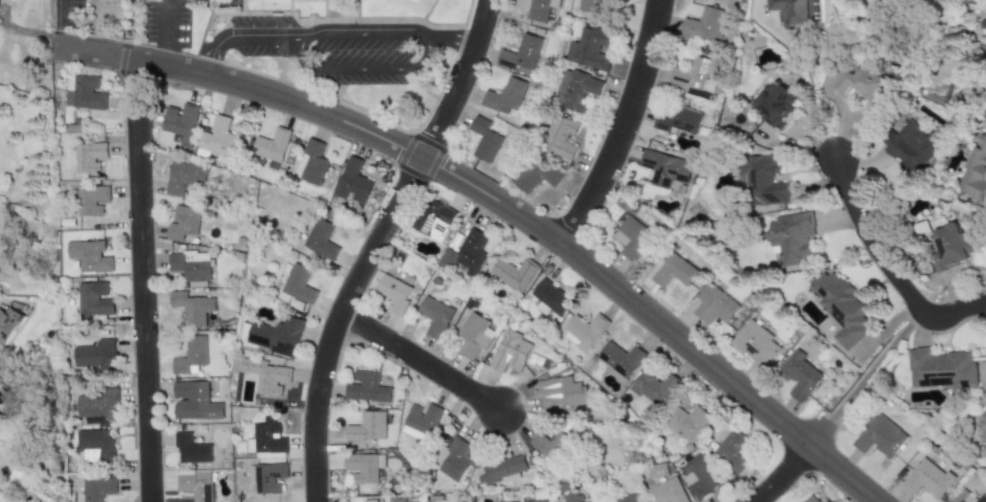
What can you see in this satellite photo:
building: (306, 1)
building: (587, 6)
building: (540, 9)
building: (790, 12)
building: (704, 25)
road: (331, 34)
road: (164, 36)
building: (589, 49)
building: (521, 53)
road: (361, 69)
building: (693, 75)
building: (862, 84)
building: (575, 90)
building: (84, 93)
building: (504, 97)
road: (817, 98)
building: (776, 104)
building: (676, 119)
building: (180, 123)
road: (619, 127)
building: (560, 137)
building: (217, 140)
building: (484, 140)
building: (271, 145)
building: (912, 146)
building: (89, 158)
building: (312, 163)
building: (665, 168)
building: (975, 171)
building: (184, 177)
building: (536, 177)
building: (761, 180)
building: (353, 181)
road: (480, 194)
building: (91, 201)
building: (434, 220)
building: (183, 224)
building: (632, 237)
building: (791, 237)
building: (320, 239)
road: (374, 244)
building: (951, 248)
building: (465, 254)
building: (89, 256)
building: (190, 265)
road: (883, 266)
building: (673, 272)
building: (513, 273)
road: (140, 281)
building: (298, 285)
building: (394, 293)
building: (550, 297)
building: (94, 300)
building: (714, 305)
building: (192, 308)
building: (841, 308)
building: (435, 317)
building: (8, 323)
building: (583, 331)
building: (276, 336)
building: (472, 336)
building: (755, 344)
building: (508, 354)
building: (95, 355)
building: (191, 355)
building: (620, 360)
road: (418, 362)
building: (940, 369)
building: (267, 376)
building: (800, 376)
road: (863, 379)
building: (366, 388)
building: (652, 389)
building: (562, 394)
building: (194, 402)
building: (98, 404)
building: (984, 416)
building: (420, 422)
building: (686, 423)
building: (366, 427)
building: (880, 437)
building: (267, 440)
building: (94, 445)
building: (549, 445)
building: (191, 450)
building: (732, 451)
building: (452, 459)
building: (363, 467)
building: (502, 468)
road: (783, 475)
building: (267, 477)
building: (700, 477)
building: (928, 479)
building: (196, 485)
building: (97, 489)
building: (667, 492)
building: (966, 497)
building: (573, 498)
building: (627, 498)
building: (809, 498)
building: (0, 501)
building: (370, 501)
building: (538, 501)
building: (594, 501)

